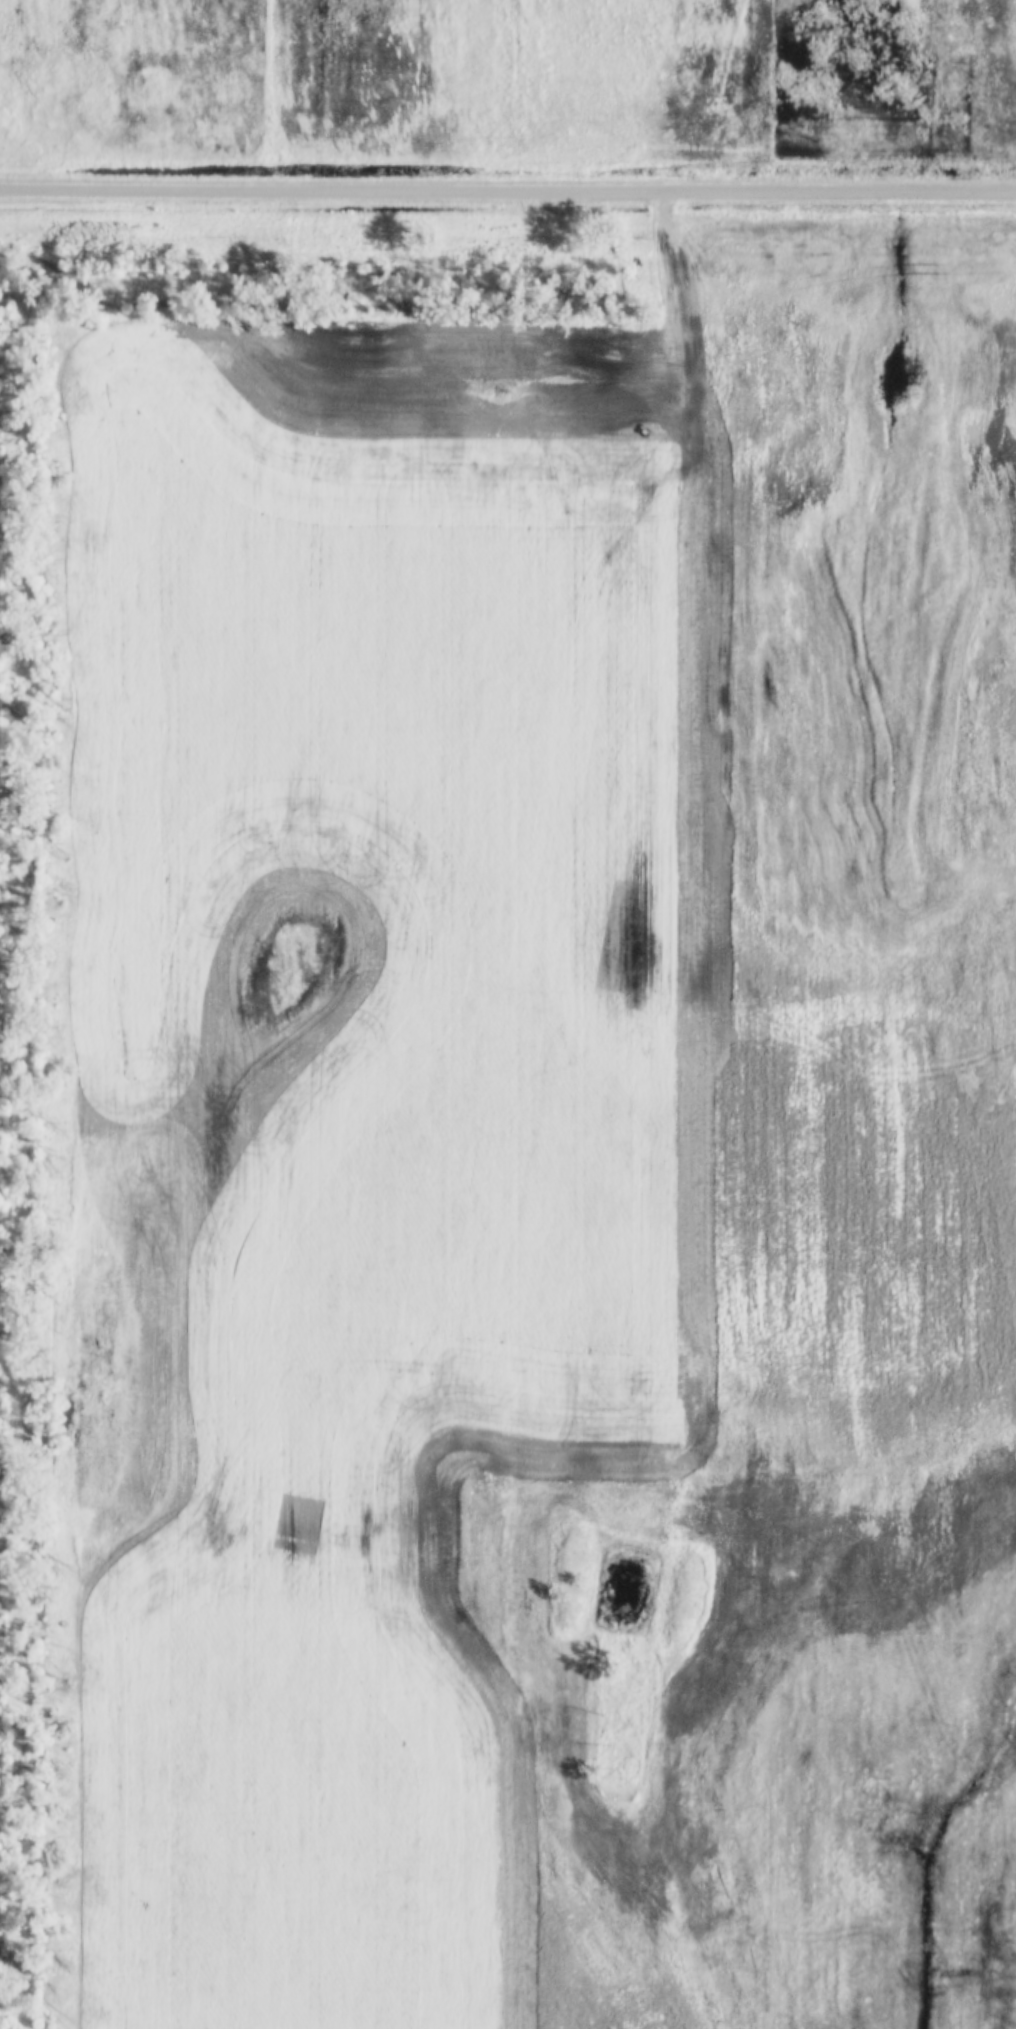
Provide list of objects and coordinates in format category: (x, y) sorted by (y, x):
road: (507, 191)
crop: (548, 1147)

